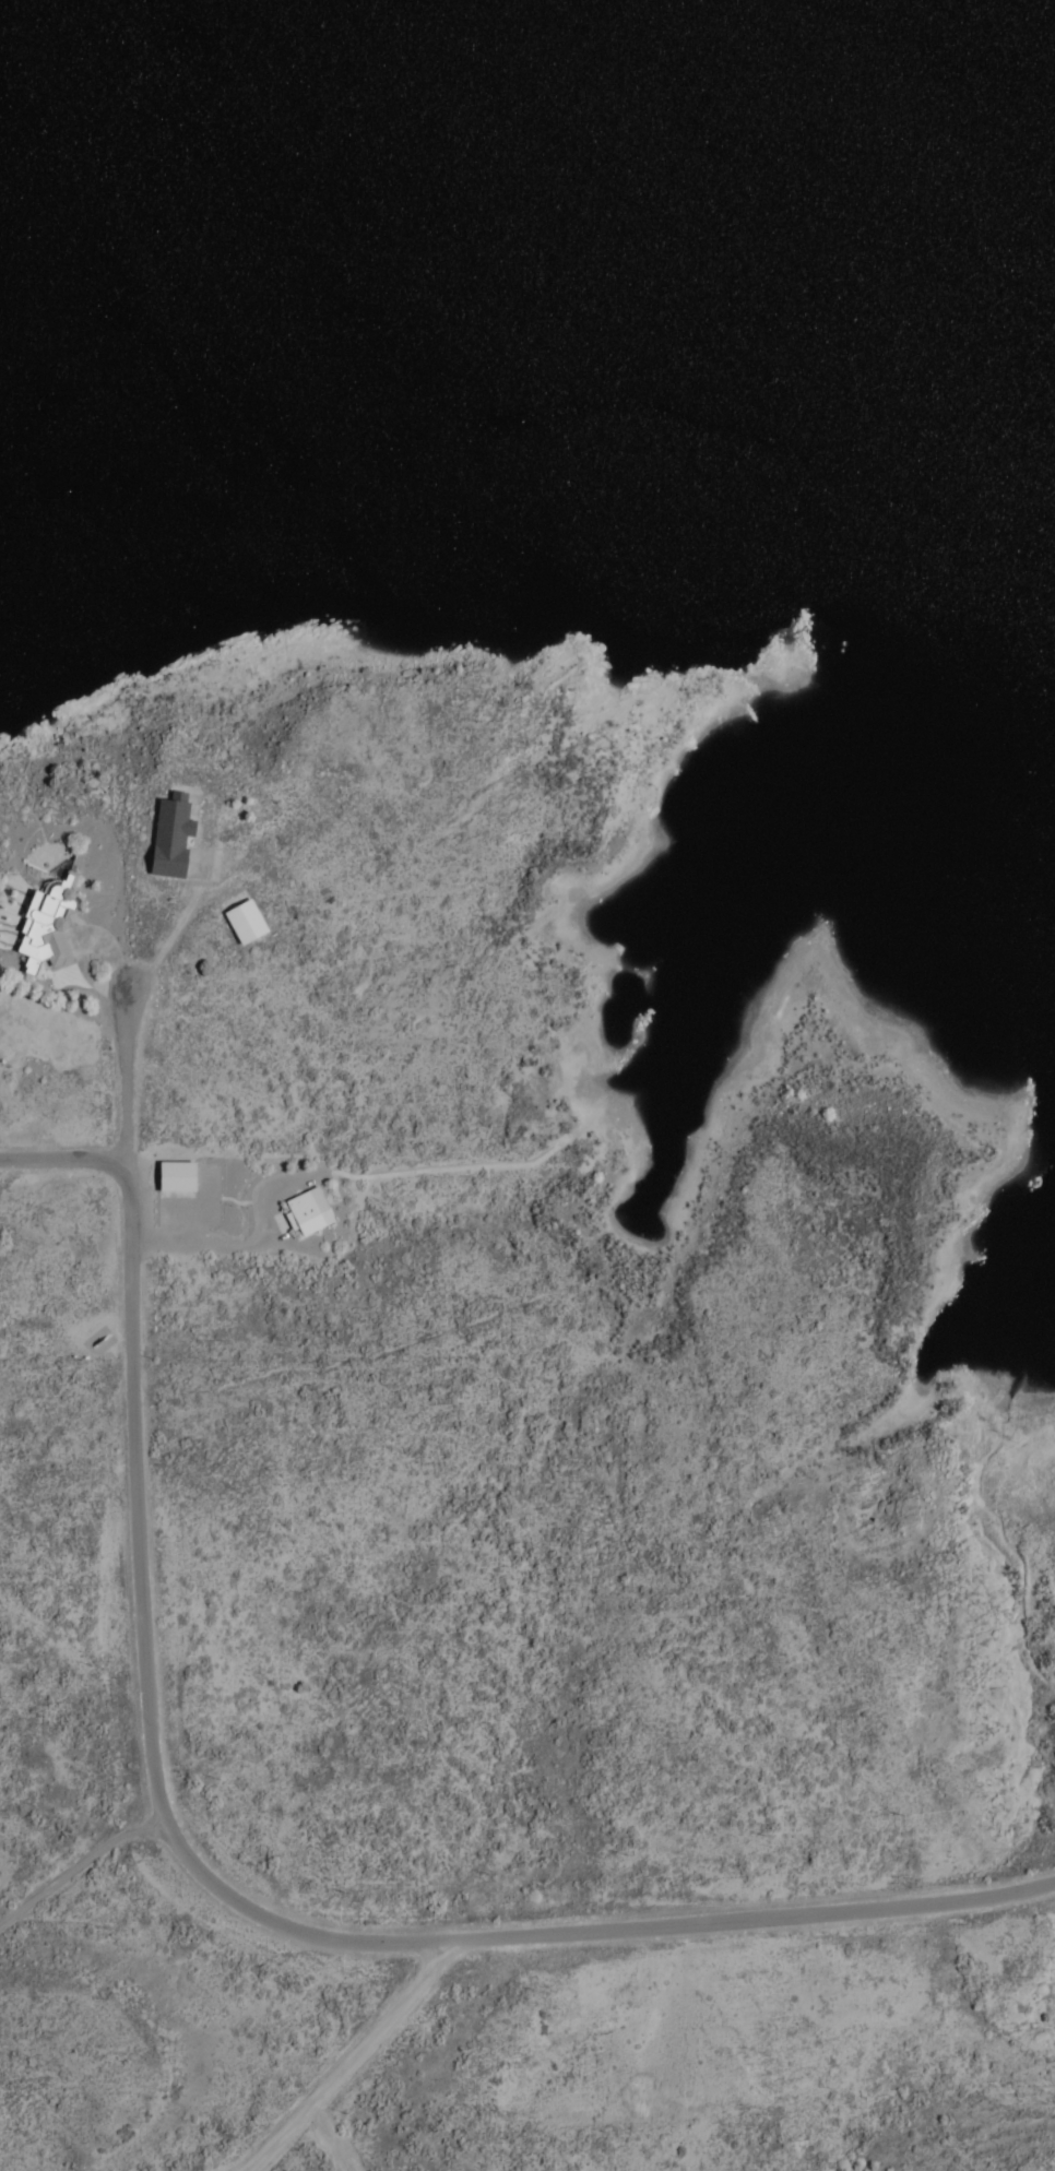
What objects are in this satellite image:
river: (527, 75)
building: (158, 839)
building: (234, 920)
building: (33, 930)
road: (118, 1071)
building: (300, 1215)
road: (132, 1434)
road: (78, 1867)
road: (590, 1933)
road: (359, 2062)

